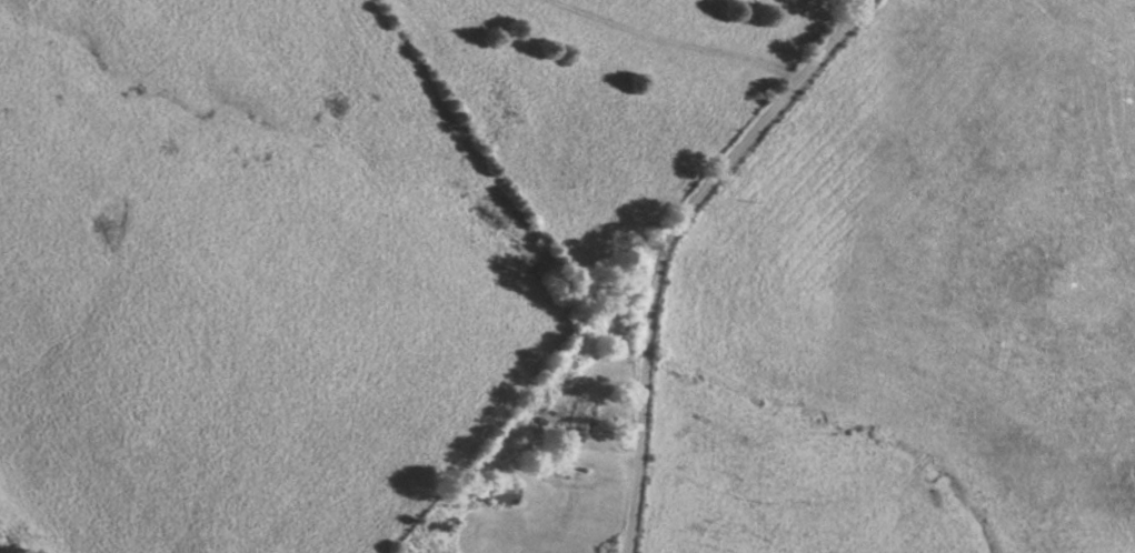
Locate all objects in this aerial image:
road: (677, 242)
building: (580, 415)
building: (505, 491)

